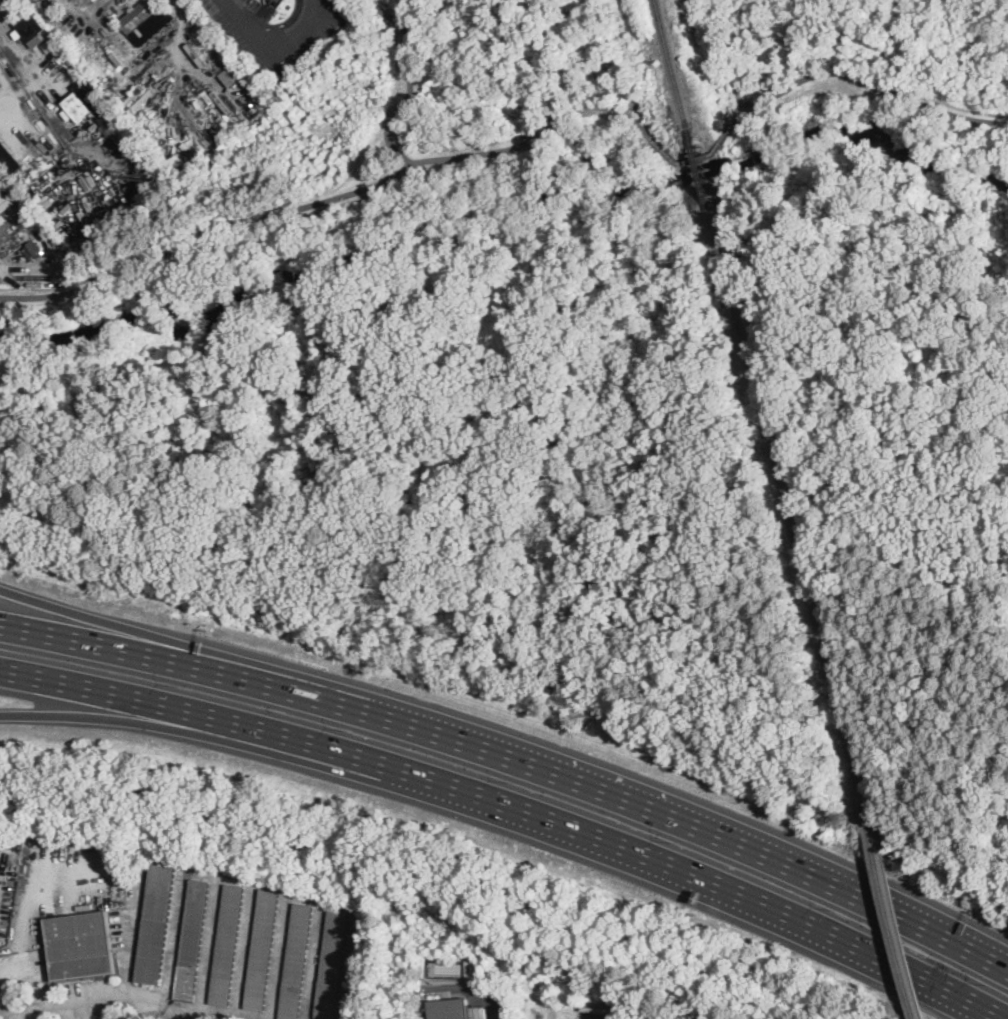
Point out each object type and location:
building: (146, 20)
road: (279, 25)
building: (31, 29)
parking lot: (275, 30)
building: (49, 45)
road: (279, 52)
railway: (669, 63)
building: (233, 73)
road: (410, 80)
road: (862, 80)
road: (35, 88)
building: (93, 96)
building: (77, 106)
road: (630, 108)
road: (720, 139)
road: (666, 152)
building: (10, 156)
road: (695, 158)
railway: (698, 168)
road: (335, 196)
building: (5, 201)
building: (32, 249)
railway: (789, 518)
road: (122, 629)
road: (164, 727)
road: (517, 755)
road: (393, 764)
road: (28, 909)
building: (156, 921)
railway: (892, 923)
road: (133, 939)
building: (192, 940)
building: (227, 945)
building: (80, 946)
building: (262, 950)
road: (891, 956)
building: (296, 961)
building: (361, 964)
building: (331, 965)
road: (81, 1000)
building: (450, 1008)
road: (171, 1010)
building: (478, 1012)

